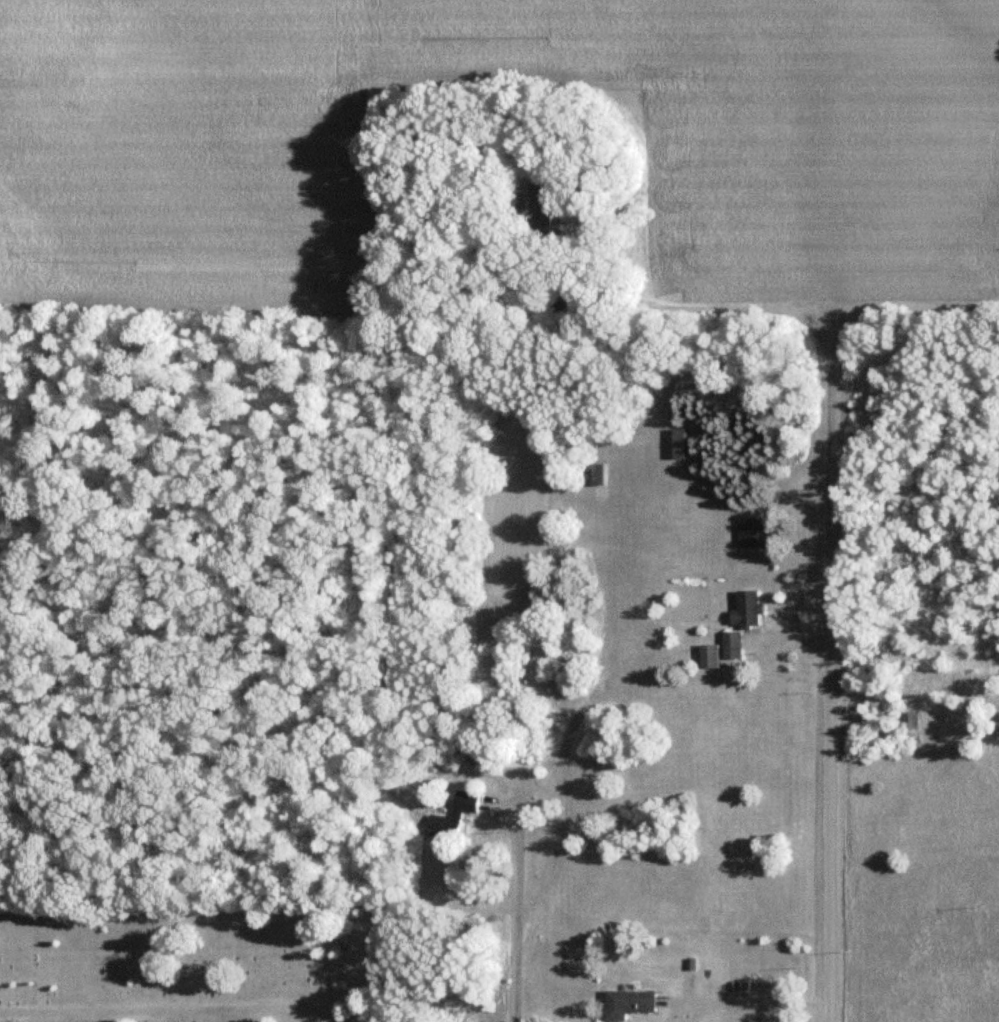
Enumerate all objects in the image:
road: (810, 312)
building: (674, 443)
building: (750, 532)
building: (742, 609)
building: (728, 644)
building: (705, 656)
road: (828, 667)
building: (463, 801)
building: (439, 827)
road: (515, 909)
park: (193, 960)
road: (748, 1001)
building: (624, 1004)
road: (147, 1007)

